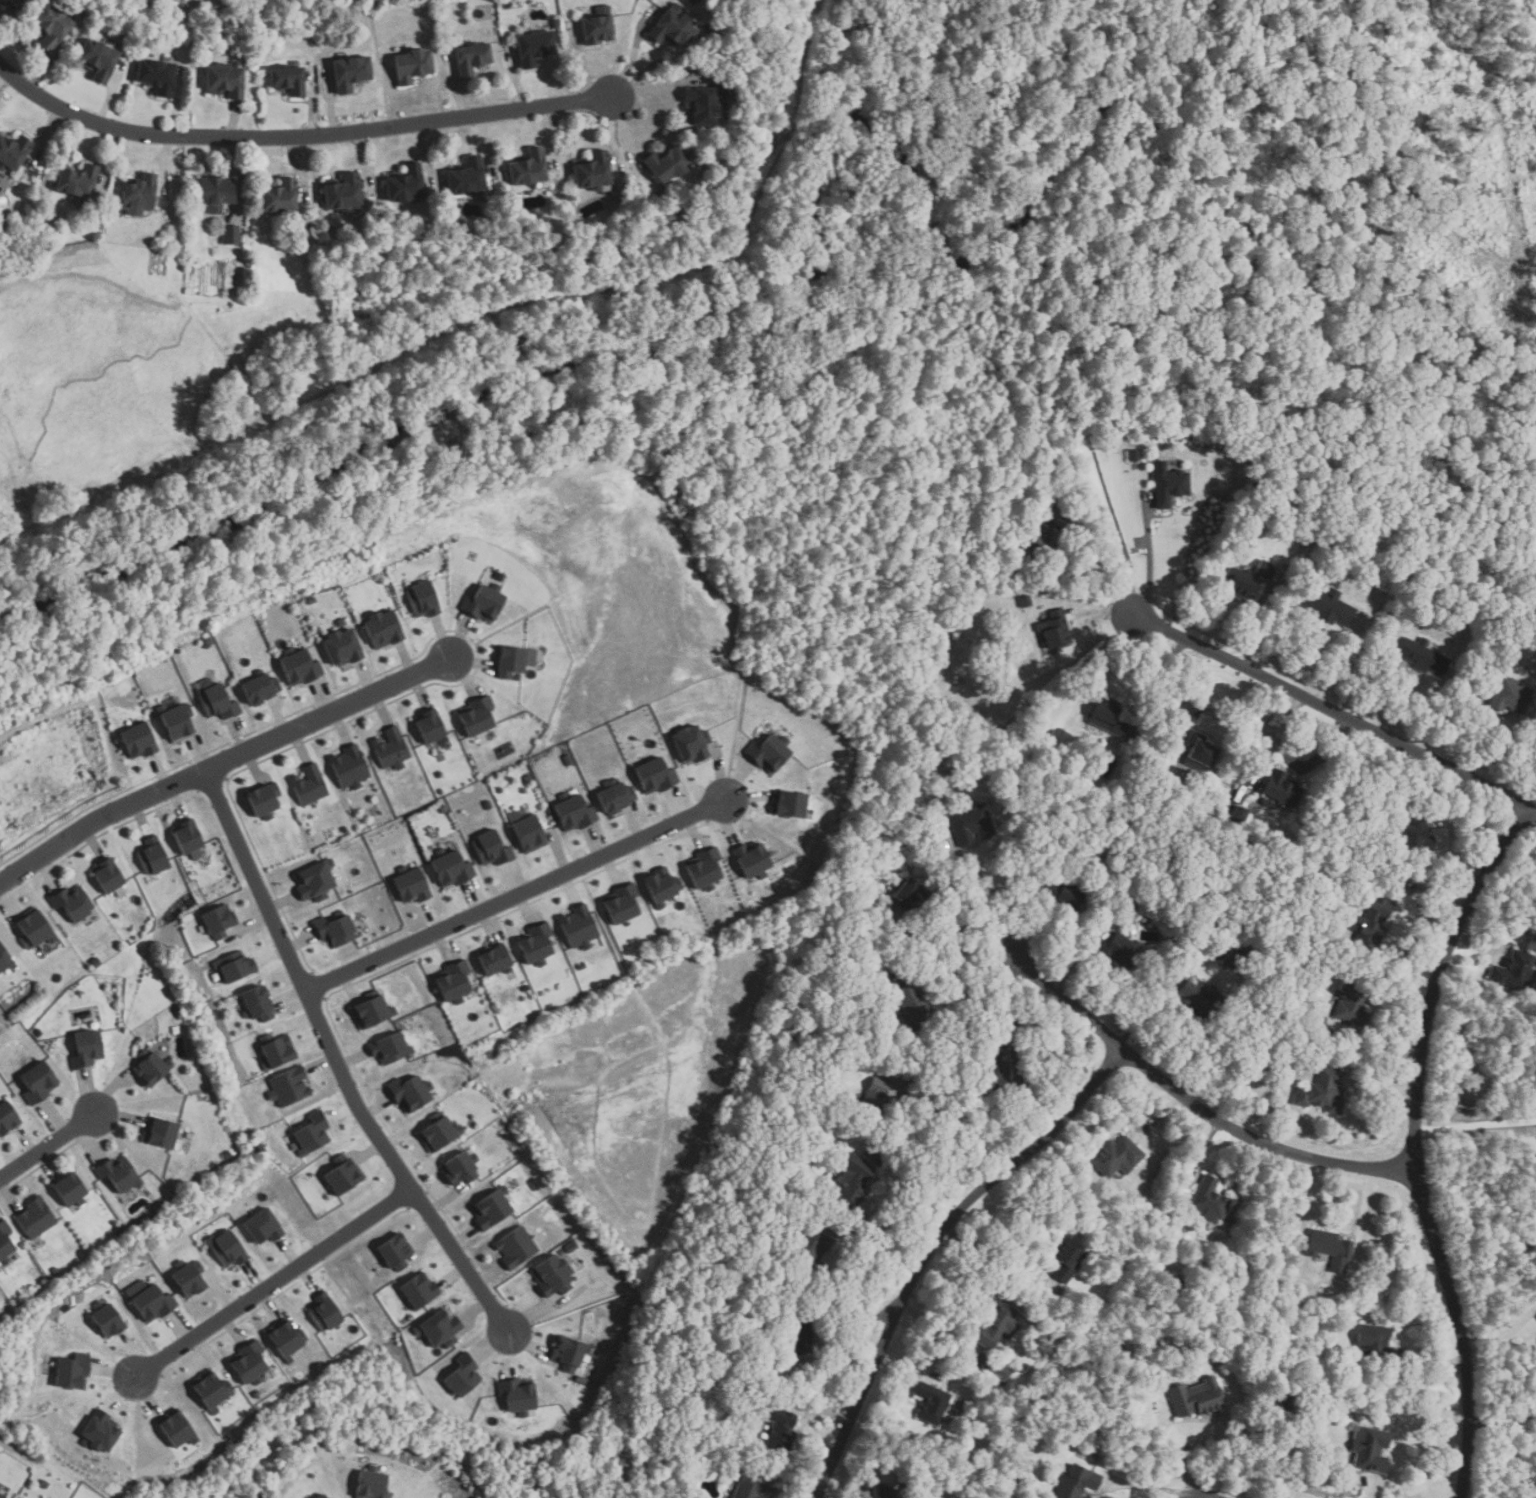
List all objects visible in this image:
building: (5, 2)
building: (51, 26)
building: (672, 29)
building: (596, 30)
building: (533, 48)
building: (471, 58)
building: (98, 59)
building: (724, 64)
building: (411, 66)
building: (350, 73)
building: (157, 76)
road: (3, 77)
building: (288, 80)
building: (225, 81)
building: (702, 105)
road: (296, 135)
building: (12, 152)
building: (665, 163)
building: (528, 168)
building: (592, 172)
building: (466, 177)
building: (77, 182)
building: (405, 184)
building: (214, 193)
building: (342, 194)
building: (139, 195)
building: (279, 197)
building: (230, 235)
building: (1132, 454)
building: (1168, 487)
building: (1033, 540)
road: (1121, 554)
road: (1151, 563)
building: (498, 576)
building: (1246, 579)
building: (423, 599)
building: (310, 600)
building: (1024, 601)
building: (482, 604)
building: (1328, 606)
road: (1106, 611)
building: (383, 629)
building: (1053, 629)
building: (1516, 640)
building: (207, 642)
building: (343, 647)
building: (1421, 657)
building: (514, 661)
building: (300, 667)
road: (1165, 677)
building: (260, 687)
building: (1509, 696)
building: (215, 700)
road: (1335, 710)
building: (478, 716)
building: (1108, 717)
building: (176, 719)
building: (430, 727)
building: (138, 741)
building: (693, 744)
building: (392, 749)
building: (1200, 750)
building: (770, 752)
road: (220, 762)
road: (1293, 763)
building: (349, 768)
building: (656, 776)
building: (912, 778)
building: (528, 779)
building: (309, 785)
building: (1280, 791)
building: (1366, 792)
building: (616, 796)
building: (264, 800)
building: (790, 804)
building: (488, 805)
building: (444, 809)
building: (1240, 810)
building: (575, 812)
building: (890, 824)
building: (970, 824)
building: (345, 830)
building: (528, 832)
building: (1416, 835)
building: (879, 837)
building: (188, 839)
building: (493, 851)
building: (152, 857)
building: (753, 861)
building: (452, 868)
building: (705, 869)
building: (107, 876)
building: (315, 881)
building: (411, 885)
building: (663, 886)
road: (516, 895)
building: (909, 896)
building: (1061, 896)
road: (1000, 898)
building: (72, 903)
building: (623, 903)
building: (218, 922)
building: (1371, 922)
building: (578, 928)
building: (34, 929)
building: (336, 930)
building: (838, 937)
building: (536, 944)
road: (959, 948)
building: (1119, 951)
building: (4, 959)
building: (1234, 959)
building: (494, 960)
building: (95, 962)
road: (956, 963)
building: (234, 966)
building: (581, 967)
building: (1512, 970)
building: (454, 982)
building: (524, 988)
building: (1198, 1001)
building: (256, 1005)
building: (1351, 1005)
building: (913, 1006)
building: (371, 1011)
building: (177, 1015)
building: (1313, 1023)
building: (38, 1033)
building: (86, 1049)
building: (391, 1049)
building: (1255, 1049)
building: (277, 1053)
road: (335, 1062)
building: (994, 1067)
building: (151, 1068)
building: (37, 1083)
building: (288, 1087)
building: (1321, 1091)
building: (410, 1093)
building: (873, 1102)
road: (1198, 1105)
building: (7, 1119)
road: (960, 1125)
building: (438, 1132)
building: (160, 1134)
building: (312, 1137)
road: (1421, 1142)
road: (46, 1145)
building: (262, 1148)
building: (227, 1155)
building: (1115, 1156)
building: (461, 1168)
building: (119, 1173)
building: (343, 1175)
building: (797, 1175)
building: (851, 1181)
building: (70, 1191)
building: (1208, 1198)
building: (163, 1203)
building: (492, 1210)
building: (35, 1218)
building: (263, 1227)
building: (117, 1232)
building: (5, 1243)
road: (930, 1246)
building: (516, 1247)
building: (572, 1247)
building: (228, 1249)
building: (1329, 1249)
building: (811, 1250)
building: (394, 1252)
building: (1065, 1260)
building: (54, 1271)
building: (553, 1276)
building: (189, 1278)
road: (273, 1284)
building: (1174, 1284)
building: (420, 1292)
building: (150, 1302)
building: (67, 1309)
building: (324, 1313)
building: (107, 1320)
building: (997, 1326)
building: (440, 1329)
building: (1163, 1330)
building: (800, 1335)
road: (1502, 1336)
building: (1167, 1338)
building: (285, 1340)
building: (1375, 1343)
building: (1174, 1352)
building: (570, 1353)
building: (765, 1359)
building: (699, 1360)
building: (248, 1363)
building: (73, 1372)
building: (1001, 1372)
building: (462, 1376)
building: (582, 1380)
building: (210, 1392)
building: (517, 1396)
building: (1197, 1397)
building: (1288, 1399)
building: (932, 1402)
road: (1505, 1424)
building: (780, 1427)
building: (176, 1429)
building: (100, 1432)
building: (1370, 1448)
building: (997, 1449)
road: (1174, 1456)
building: (1076, 1481)
building: (1016, 1482)
building: (43, 1483)
building: (372, 1485)
road: (1147, 1487)
building: (753, 1488)
building: (880, 1491)
building: (2, 1495)
building: (257, 1496)
building: (321, 1496)

